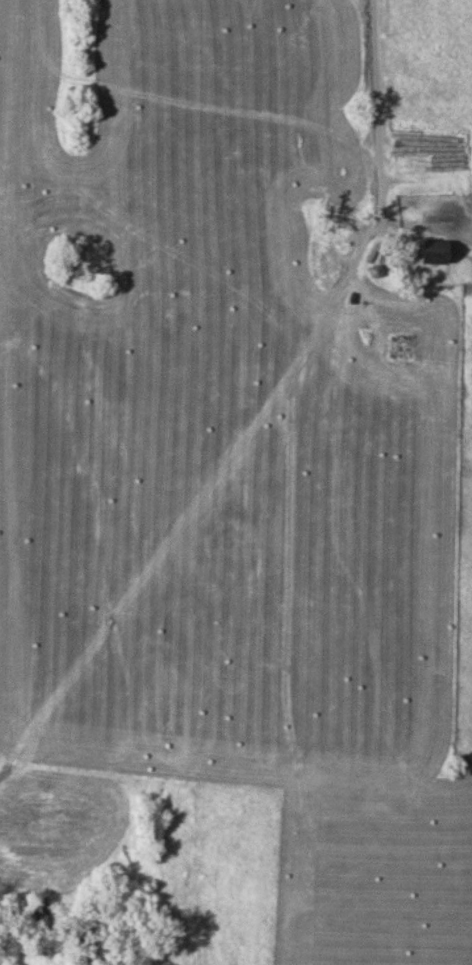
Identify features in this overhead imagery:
road: (382, 97)
building: (440, 252)
building: (171, 316)
building: (403, 347)

